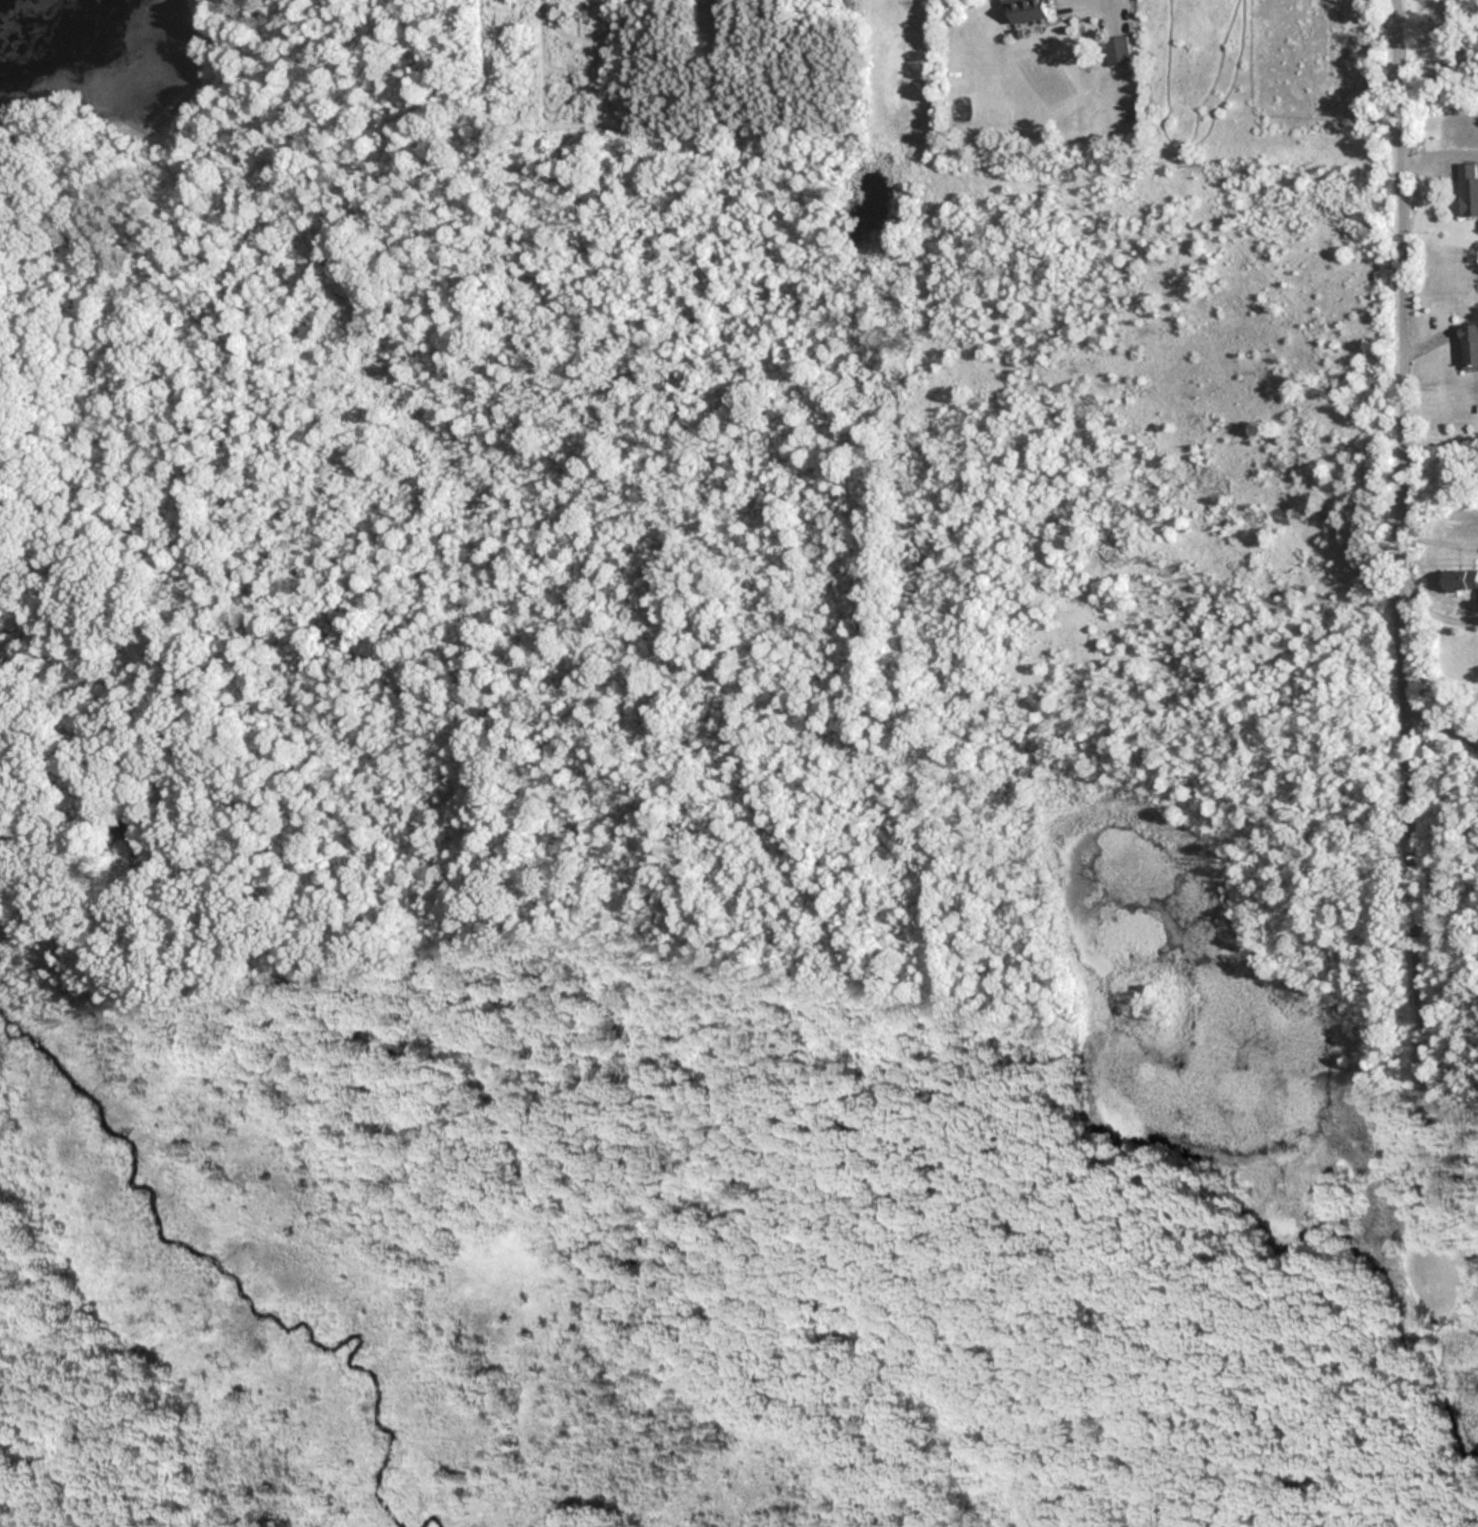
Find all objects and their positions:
building: (1026, 12)
building: (1116, 50)
road: (1444, 154)
building: (1467, 189)
building: (1468, 346)
road: (1443, 440)
building: (1461, 581)
road: (1407, 642)
road: (1443, 732)
park: (679, 855)
parking lot: (1432, 1279)
road: (1435, 1405)

